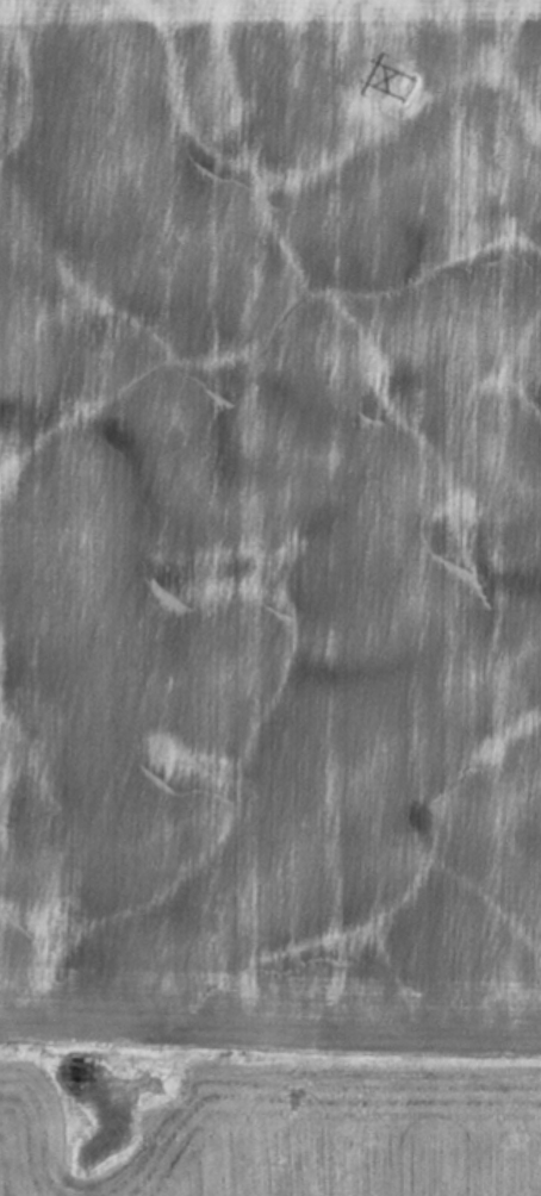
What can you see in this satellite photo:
power tower: (413, 91)

